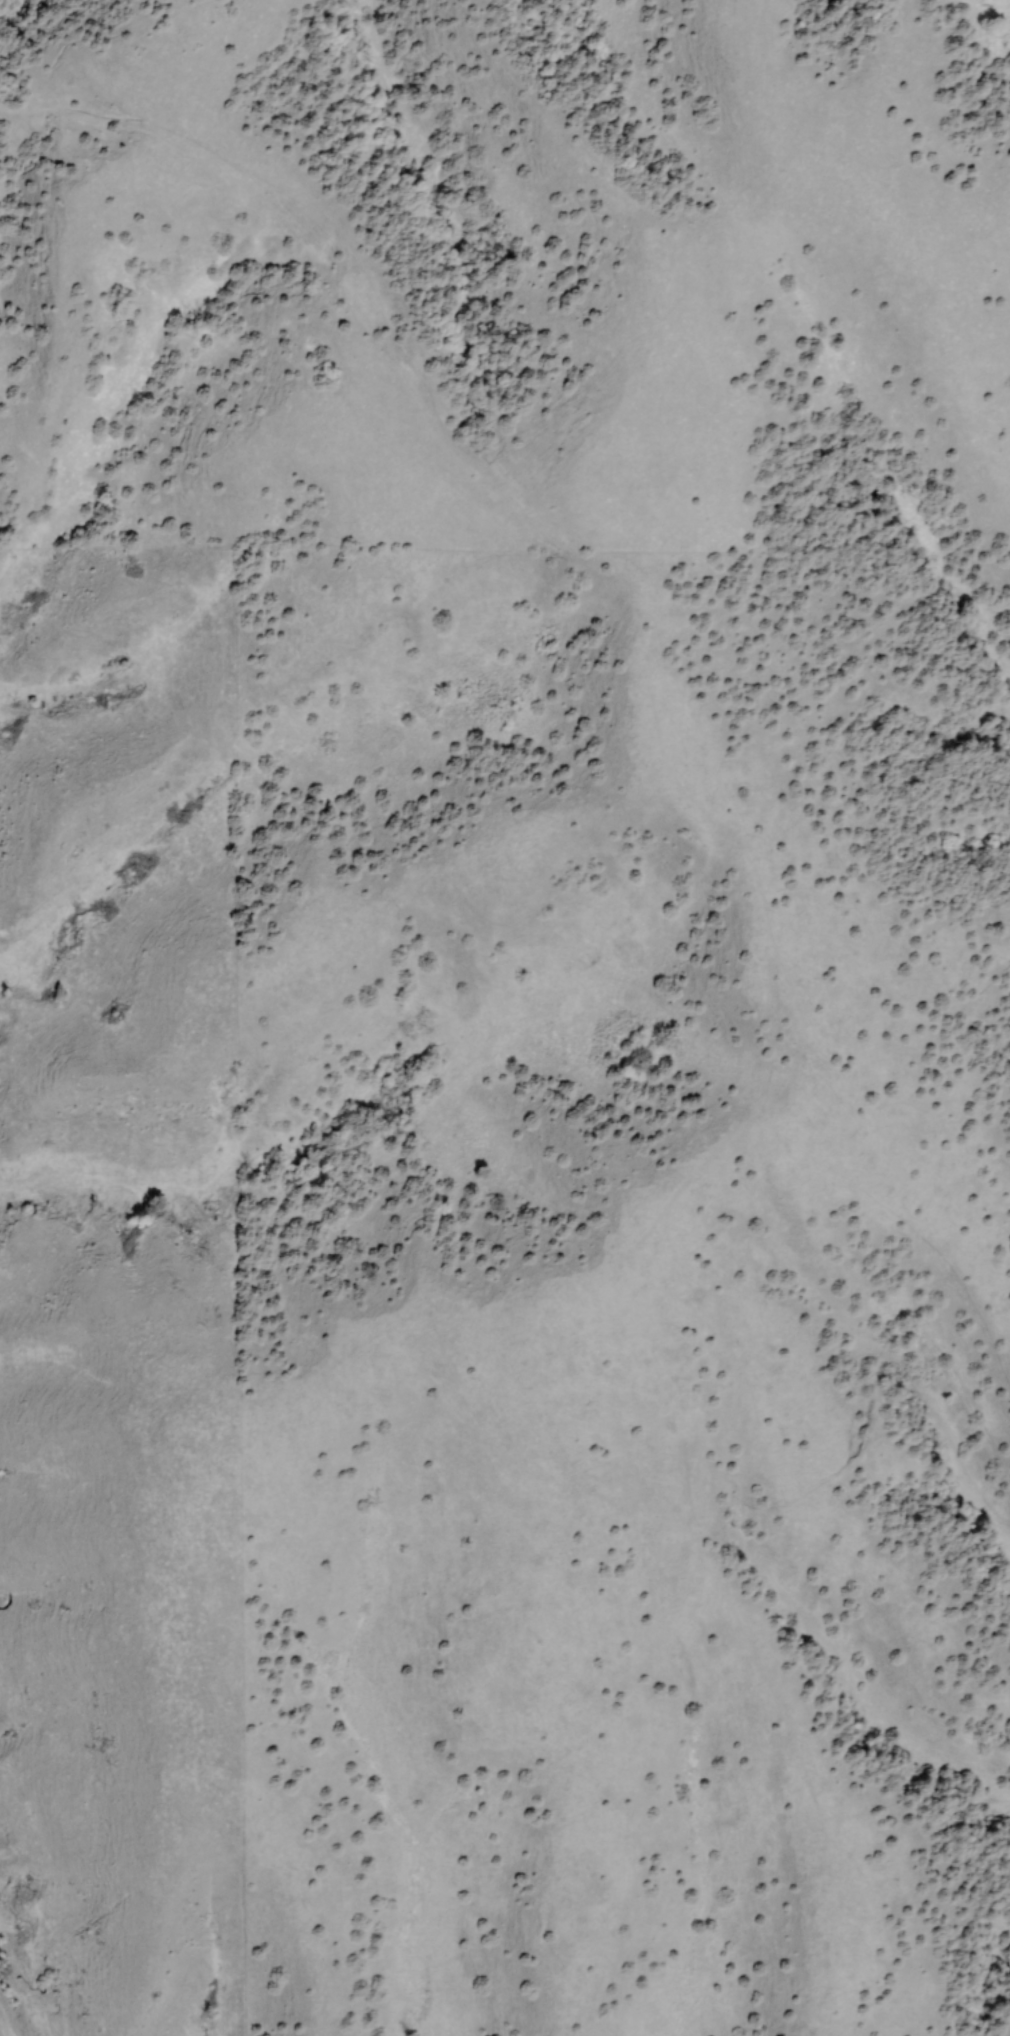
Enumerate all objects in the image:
road: (0, 2035)

